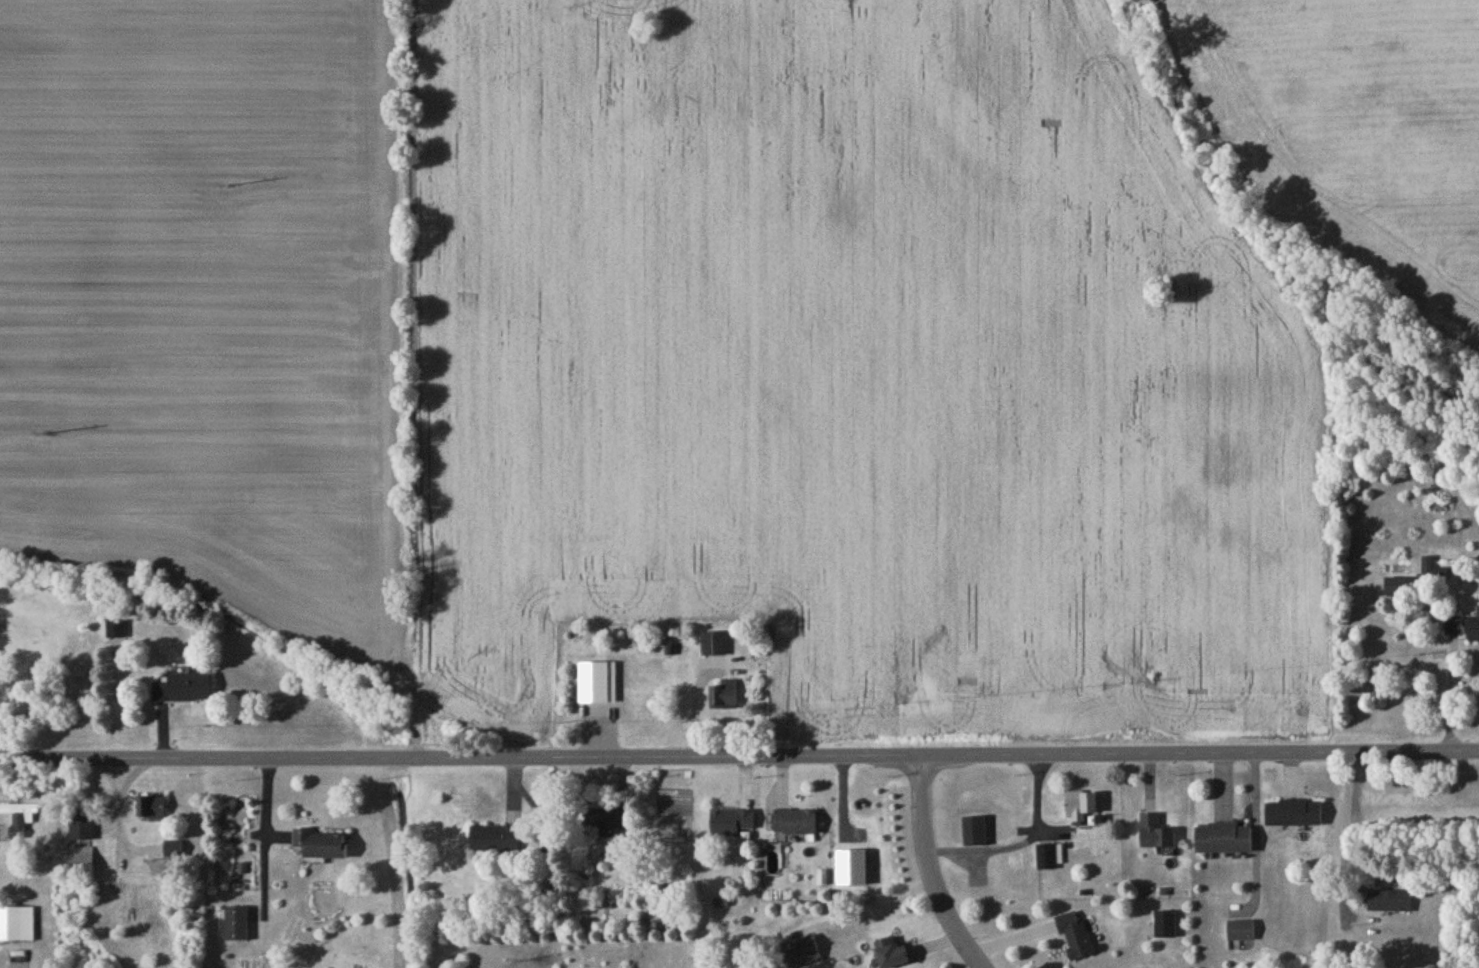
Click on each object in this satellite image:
road: (1179, 506)
building: (1433, 576)
building: (1401, 589)
building: (1463, 629)
building: (117, 638)
building: (715, 647)
building: (182, 690)
road: (1453, 696)
building: (725, 697)
road: (739, 758)
building: (1082, 809)
building: (153, 811)
building: (1294, 816)
building: (19, 821)
building: (612, 822)
building: (732, 825)
building: (796, 825)
building: (83, 828)
road: (1345, 832)
building: (976, 834)
building: (1157, 836)
road: (266, 837)
road: (1257, 839)
building: (1224, 841)
building: (496, 842)
road: (1023, 844)
building: (321, 847)
building: (1050, 859)
building: (81, 864)
road: (931, 869)
building: (1391, 904)
building: (237, 926)
building: (17, 927)
building: (1166, 927)
building: (1241, 933)
building: (1076, 938)
building: (802, 954)
building: (893, 955)

